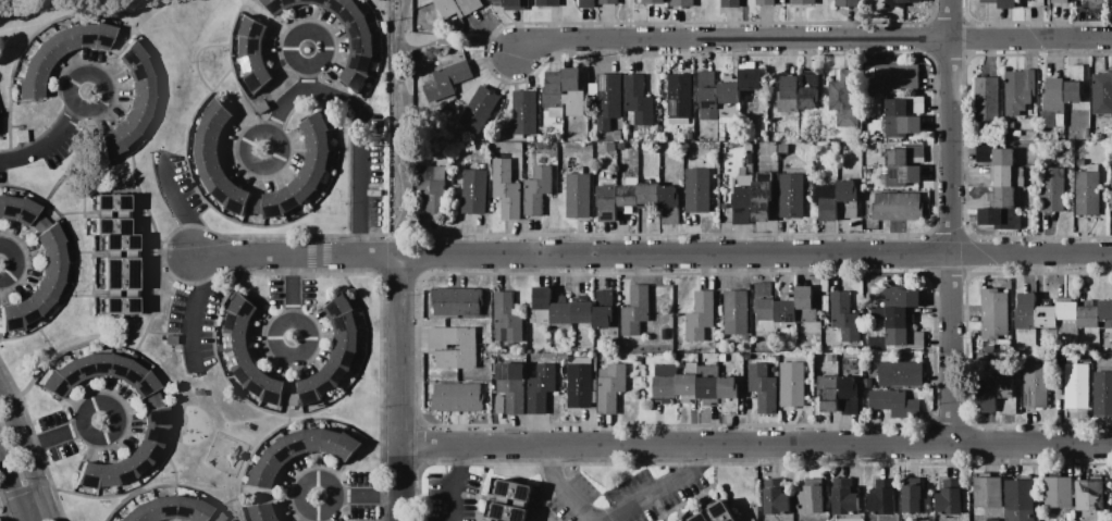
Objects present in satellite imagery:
road: (4, 0)
building: (907, 0)
building: (306, 1)
building: (609, 1)
building: (804, 1)
building: (1059, 1)
building: (1111, 1)
building: (291, 2)
building: (320, 2)
building: (547, 2)
building: (654, 2)
building: (682, 2)
building: (765, 2)
building: (1036, 2)
building: (1094, 2)
park: (24, 3)
building: (586, 3)
building: (731, 3)
building: (848, 3)
building: (1003, 3)
building: (510, 4)
building: (274, 5)
building: (336, 5)
building: (458, 7)
building: (350, 13)
building: (261, 14)
road: (273, 24)
building: (359, 27)
building: (254, 29)
building: (84, 35)
building: (102, 35)
building: (67, 38)
road: (813, 38)
road: (124, 42)
road: (459, 44)
building: (362, 45)
building: (250, 46)
building: (52, 47)
building: (129, 55)
building: (40, 59)
building: (360, 61)
building: (252, 63)
road: (307, 67)
building: (136, 71)
building: (33, 74)
building: (450, 76)
building: (898, 76)
building: (810, 77)
building: (355, 78)
building: (751, 78)
building: (258, 79)
building: (141, 87)
building: (1018, 90)
building: (28, 91)
building: (1102, 92)
building: (565, 94)
building: (1060, 94)
building: (708, 95)
building: (788, 95)
building: (638, 98)
building: (808, 98)
building: (843, 98)
building: (679, 99)
building: (729, 99)
building: (987, 99)
building: (608, 100)
building: (141, 103)
building: (904, 106)
building: (262, 108)
building: (479, 110)
building: (219, 112)
building: (526, 112)
road: (360, 115)
building: (135, 120)
building: (786, 121)
building: (1060, 121)
building: (1009, 124)
building: (316, 125)
building: (903, 125)
road: (405, 127)
building: (211, 128)
building: (124, 133)
building: (721, 133)
building: (1016, 133)
building: (1086, 133)
building: (618, 135)
building: (21, 136)
building: (689, 136)
building: (626, 137)
road: (53, 138)
building: (111, 144)
building: (318, 144)
building: (207, 145)
building: (611, 146)
building: (782, 149)
building: (771, 150)
building: (916, 154)
building: (897, 157)
building: (749, 159)
building: (318, 160)
building: (208, 162)
building: (876, 162)
building: (579, 169)
building: (742, 171)
road: (133, 172)
building: (311, 176)
building: (902, 176)
building: (213, 177)
building: (1111, 186)
building: (506, 188)
building: (1053, 188)
building: (432, 189)
building: (697, 189)
building: (301, 190)
building: (536, 190)
building: (1087, 190)
building: (224, 191)
building: (474, 191)
building: (1004, 191)
building: (579, 195)
building: (791, 196)
building: (848, 197)
building: (626, 198)
building: (287, 200)
building: (762, 200)
building: (827, 201)
building: (110, 202)
building: (238, 202)
building: (742, 203)
building: (669, 204)
building: (256, 206)
building: (898, 206)
building: (272, 207)
building: (9, 208)
road: (178, 208)
building: (25, 211)
building: (38, 222)
road: (951, 222)
building: (110, 226)
building: (49, 236)
building: (120, 241)
building: (52, 253)
road: (654, 253)
building: (53, 271)
building: (119, 274)
building: (48, 287)
building: (901, 296)
building: (605, 297)
road: (292, 298)
building: (38, 300)
building: (456, 301)
building: (541, 305)
building: (805, 305)
building: (119, 306)
building: (339, 306)
building: (243, 307)
building: (1066, 308)
building: (765, 309)
building: (25, 311)
building: (634, 311)
building: (737, 311)
building: (786, 311)
building: (1026, 311)
building: (583, 312)
building: (1105, 312)
building: (563, 313)
building: (993, 313)
building: (1088, 314)
building: (700, 315)
building: (845, 315)
building: (603, 317)
building: (1047, 317)
building: (10, 319)
building: (507, 319)
building: (236, 323)
building: (344, 323)
building: (902, 330)
building: (664, 334)
building: (745, 338)
building: (170, 339)
building: (234, 339)
building: (346, 339)
building: (677, 342)
road: (120, 344)
building: (613, 344)
building: (453, 347)
building: (237, 357)
building: (343, 357)
building: (832, 357)
building: (722, 358)
building: (100, 364)
building: (84, 365)
building: (118, 367)
building: (692, 368)
building: (708, 370)
building: (334, 371)
building: (245, 372)
building: (901, 373)
building: (67, 374)
building: (132, 374)
building: (258, 383)
building: (322, 383)
building: (665, 383)
building: (867, 383)
building: (687, 384)
building: (793, 384)
building: (1077, 384)
building: (53, 385)
building: (146, 385)
building: (1035, 385)
building: (512, 386)
building: (580, 386)
building: (610, 386)
road: (398, 388)
building: (541, 388)
building: (764, 388)
building: (708, 390)
building: (273, 393)
building: (308, 393)
building: (839, 393)
building: (1103, 393)
building: (729, 394)
building: (999, 394)
building: (457, 397)
building: (295, 399)
building: (153, 400)
building: (895, 402)
building: (499, 405)
building: (157, 418)
road: (60, 433)
building: (153, 435)
building: (313, 438)
building: (330, 441)
building: (296, 442)
road: (755, 445)
building: (346, 446)
building: (147, 450)
building: (281, 450)
road: (25, 457)
building: (135, 463)
building: (270, 463)
building: (120, 472)
building: (87, 475)
building: (104, 475)
building: (262, 479)
road: (453, 481)
road: (557, 486)
road: (663, 488)
road: (11, 489)
building: (515, 491)
building: (988, 492)
building: (1058, 492)
building: (811, 495)
building: (915, 495)
building: (1090, 495)
road: (258, 496)
building: (776, 496)
road: (359, 497)
building: (845, 497)
building: (882, 497)
building: (950, 497)
building: (1018, 499)
building: (165, 507)
building: (182, 508)
road: (33, 509)
building: (148, 510)
building: (199, 511)
building: (261, 511)
building: (721, 511)
building: (509, 512)
building: (132, 514)
building: (701, 517)
building: (1070, 517)
building: (218, 518)
building: (273, 519)
park: (1, 520)
building: (120, 520)
building: (992, 520)

